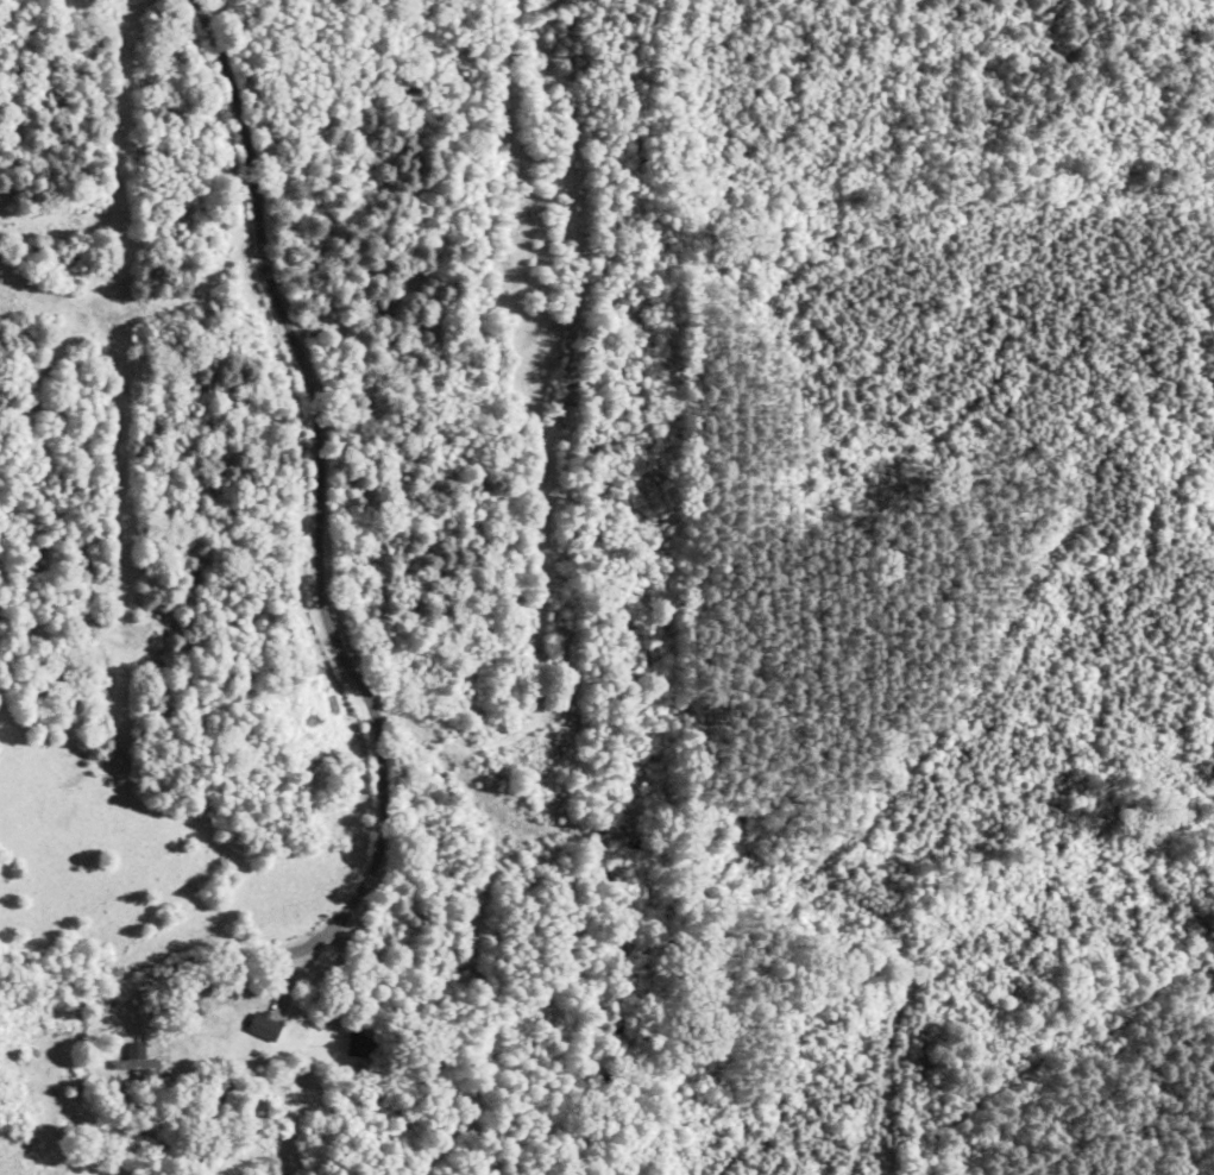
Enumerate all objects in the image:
road: (252, 561)
building: (263, 1029)
building: (359, 1048)
building: (139, 1067)

